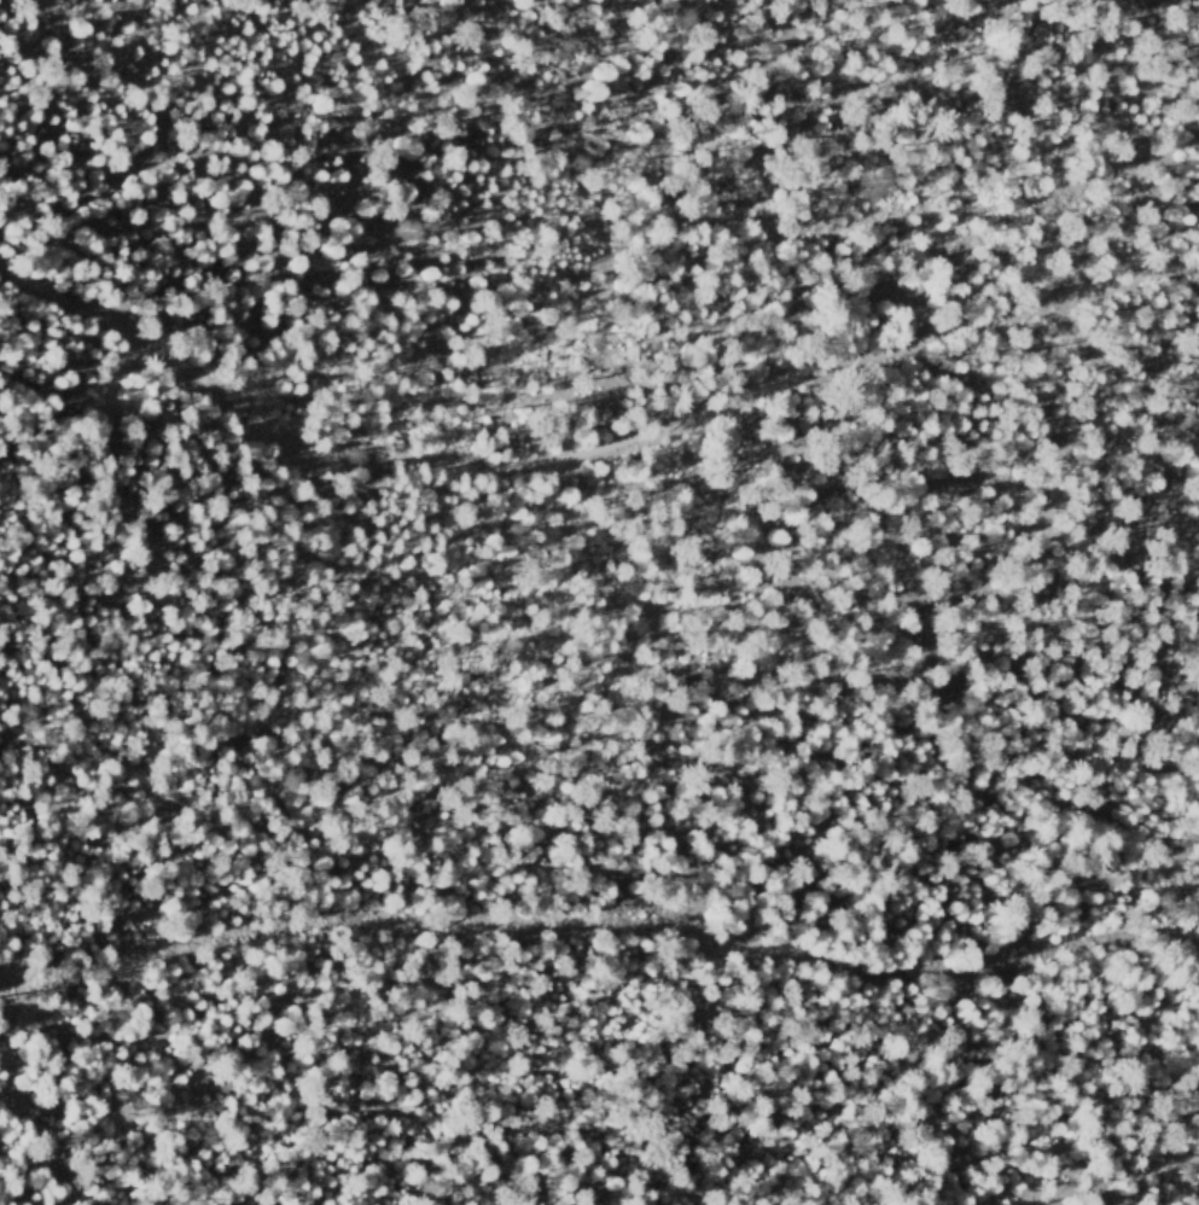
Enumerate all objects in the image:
road: (584, 458)
road: (495, 922)
road: (1123, 1172)

